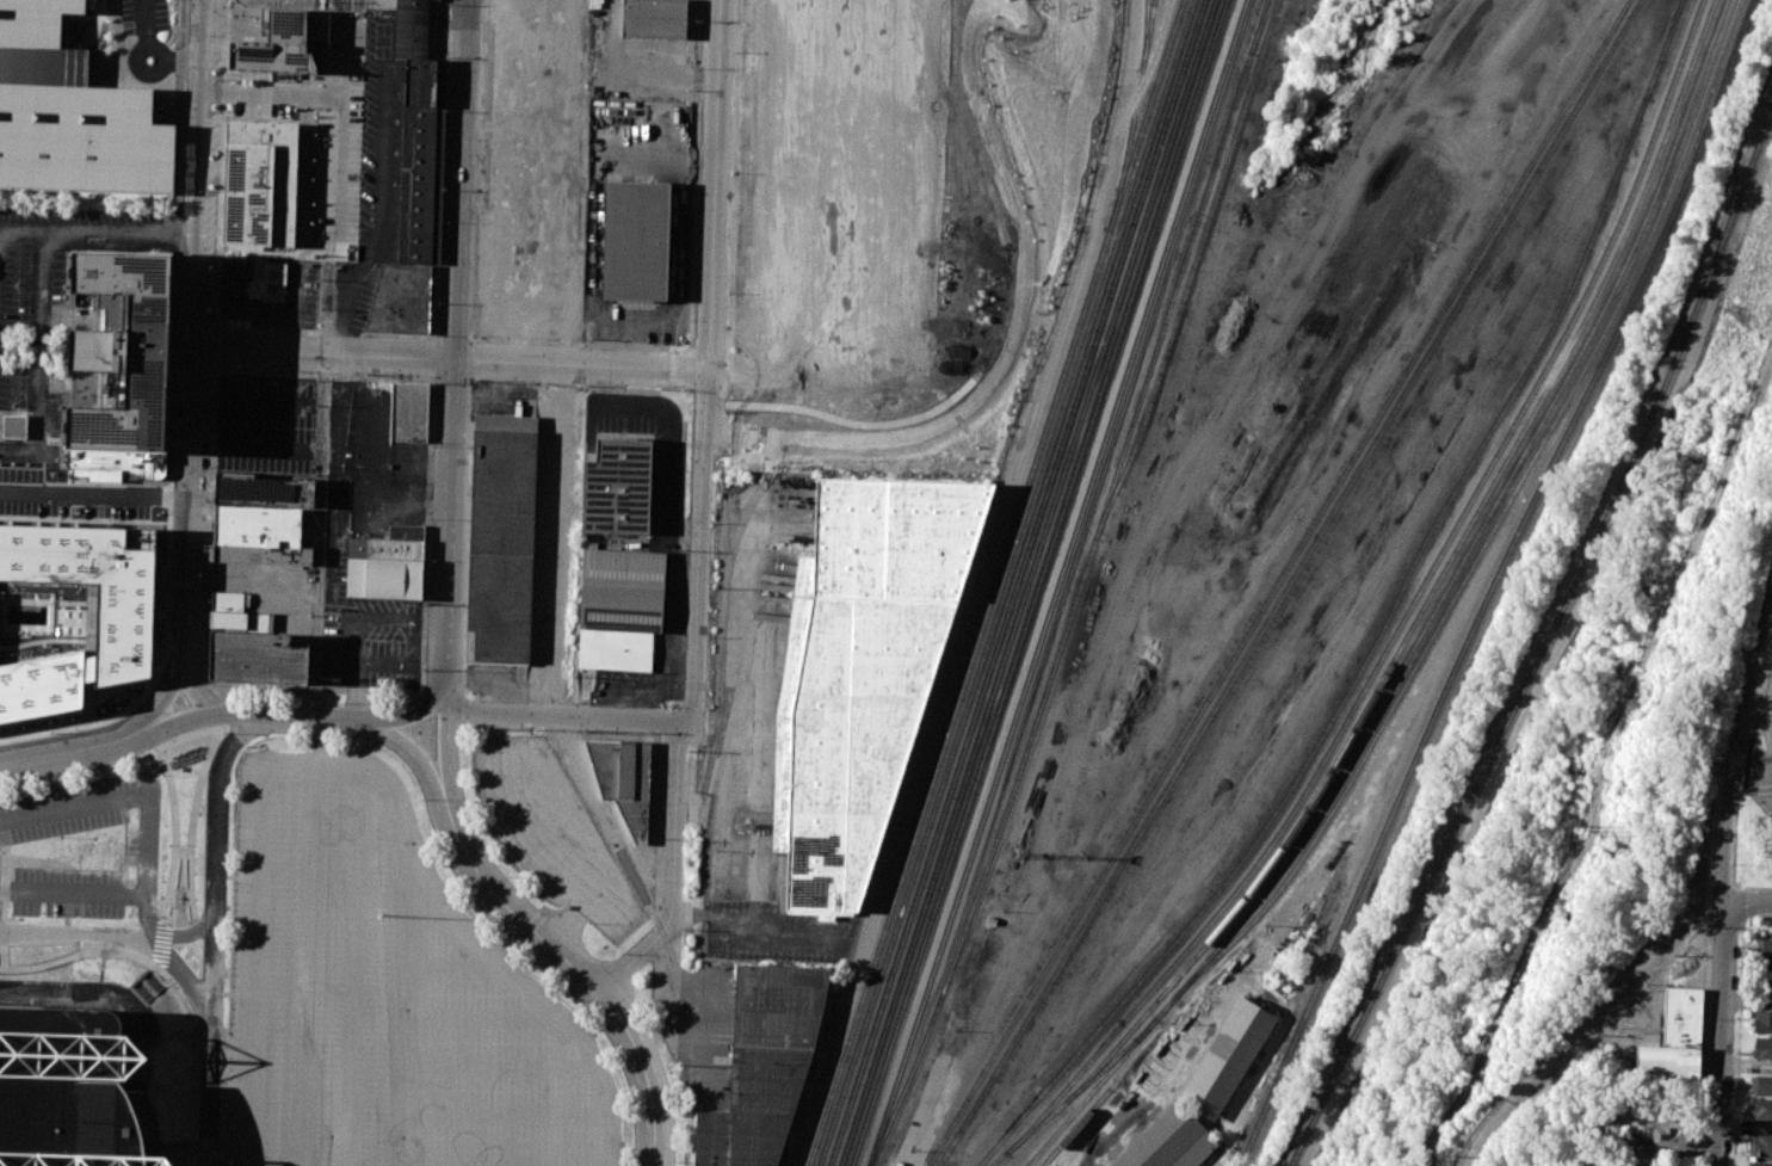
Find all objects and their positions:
building: (654, 18)
railway: (1260, 25)
railway: (1146, 35)
building: (284, 43)
railway: (1710, 45)
road: (148, 54)
road: (342, 56)
building: (72, 113)
railway: (1132, 115)
road: (335, 132)
building: (415, 144)
road: (304, 169)
road: (193, 177)
building: (259, 184)
parking lot: (894, 192)
road: (376, 198)
road: (95, 233)
building: (636, 241)
road: (316, 242)
railway: (1192, 271)
building: (270, 278)
road: (294, 298)
building: (401, 300)
parking lot: (58, 319)
road: (456, 347)
building: (125, 351)
road: (446, 363)
road: (615, 405)
building: (408, 412)
building: (14, 426)
road: (41, 430)
building: (116, 464)
road: (672, 479)
building: (618, 487)
road: (92, 489)
building: (263, 491)
road: (183, 510)
road: (697, 511)
railway: (1498, 522)
building: (257, 525)
building: (406, 531)
road: (319, 537)
building: (502, 538)
road: (555, 542)
building: (384, 548)
building: (263, 554)
railway: (1440, 576)
building: (384, 579)
railway: (1494, 580)
road: (982, 581)
railway: (994, 582)
railway: (1006, 582)
railway: (1015, 582)
railway: (1026, 582)
railway: (1038, 582)
railway: (1057, 582)
railway: (1280, 582)
railway: (1291, 582)
railway: (1079, 586)
building: (622, 590)
building: (231, 601)
building: (78, 605)
railway: (1389, 617)
railway: (1404, 618)
building: (242, 622)
parking lot: (371, 642)
railway: (1546, 642)
building: (615, 649)
building: (258, 658)
railway: (1408, 658)
building: (868, 667)
road: (199, 691)
road: (156, 703)
road: (1751, 703)
road: (1768, 711)
road: (414, 712)
road: (304, 715)
road: (566, 717)
road: (175, 720)
road: (445, 742)
road: (62, 746)
road: (416, 754)
road: (163, 755)
road: (321, 759)
road: (1767, 771)
building: (625, 778)
road: (1766, 782)
road: (1759, 788)
road: (174, 806)
road: (214, 808)
road: (1724, 825)
road: (192, 828)
power tower: (1582, 828)
parking lot: (549, 832)
road: (1734, 840)
parking lot: (81, 849)
road: (4, 903)
road: (1746, 903)
road: (1743, 906)
road: (574, 923)
road: (751, 923)
road: (1, 933)
road: (105, 937)
building: (1764, 950)
road: (1646, 954)
road: (147, 960)
road: (305, 962)
building: (66, 963)
road: (352, 963)
road: (456, 968)
road: (573, 968)
road: (524, 982)
building: (1764, 982)
road: (173, 992)
parking lot: (384, 995)
road: (152, 998)
road: (483, 1017)
building: (1683, 1017)
building: (1762, 1020)
building: (1628, 1029)
road: (228, 1031)
road: (1719, 1034)
road: (1737, 1043)
building: (1762, 1047)
road: (205, 1053)
building: (1227, 1057)
building: (1666, 1061)
road: (500, 1063)
building: (764, 1063)
road: (148, 1072)
building: (1761, 1085)
railway: (1081, 1087)
building: (73, 1092)
stadium: (73, 1092)
road: (1518, 1092)
building: (1761, 1109)
road: (506, 1112)
railway: (1076, 1127)
building: (1661, 1137)
building: (1169, 1141)
building: (1760, 1146)
power tower: (1440, 1156)
road: (506, 1160)
building: (899, 1164)
building: (1759, 1164)

